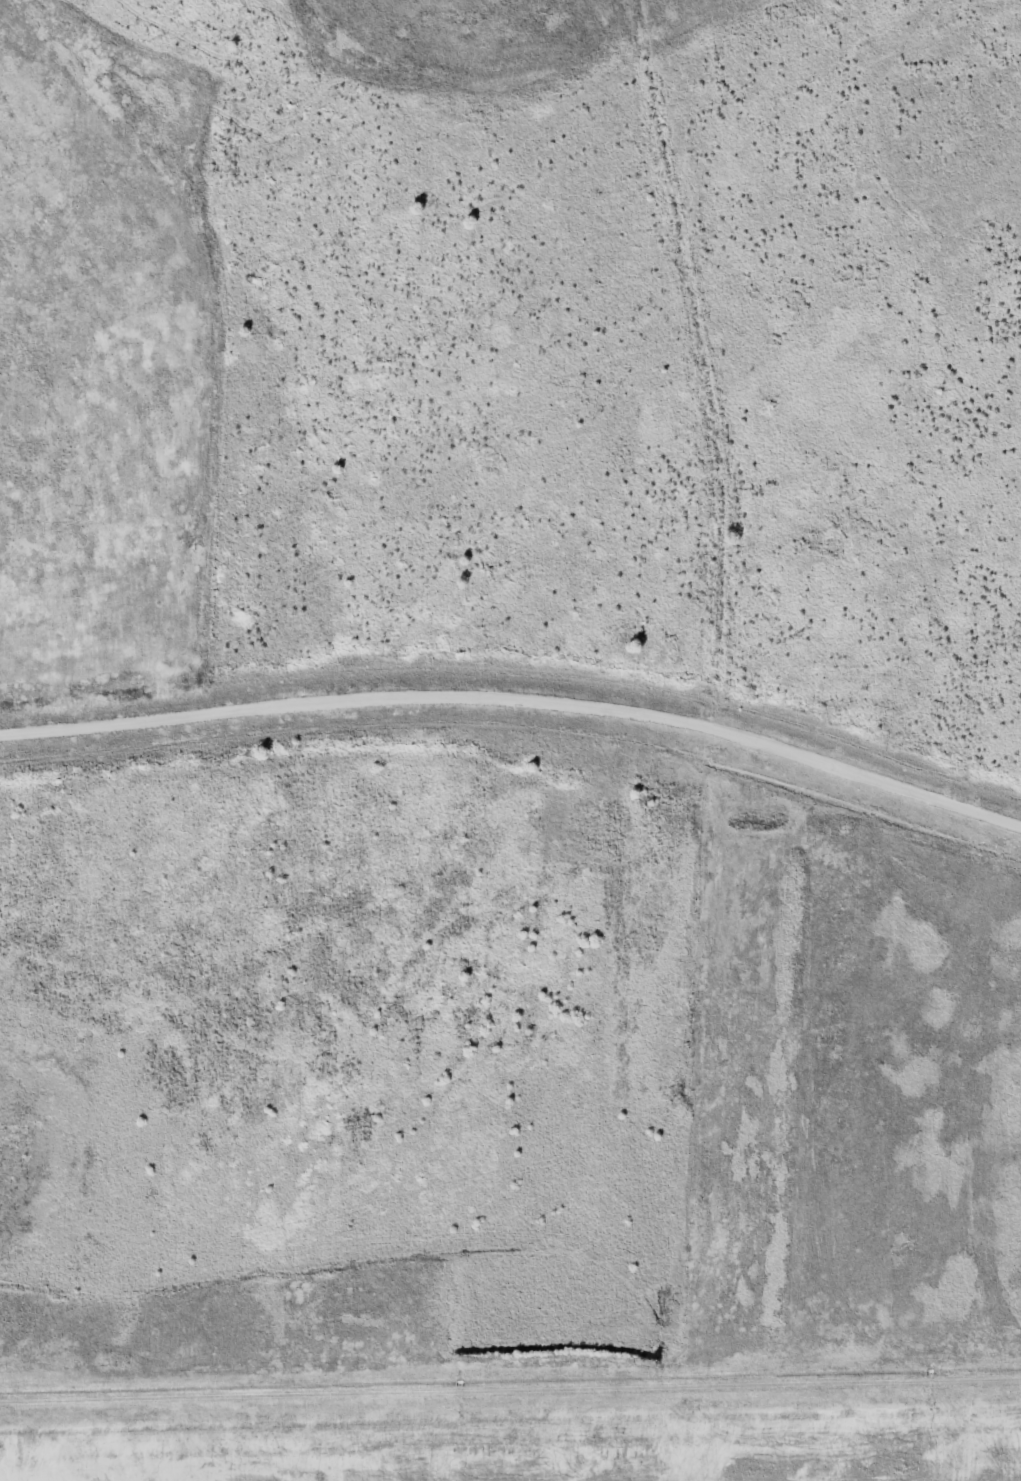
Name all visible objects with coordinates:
road: (518, 700)

